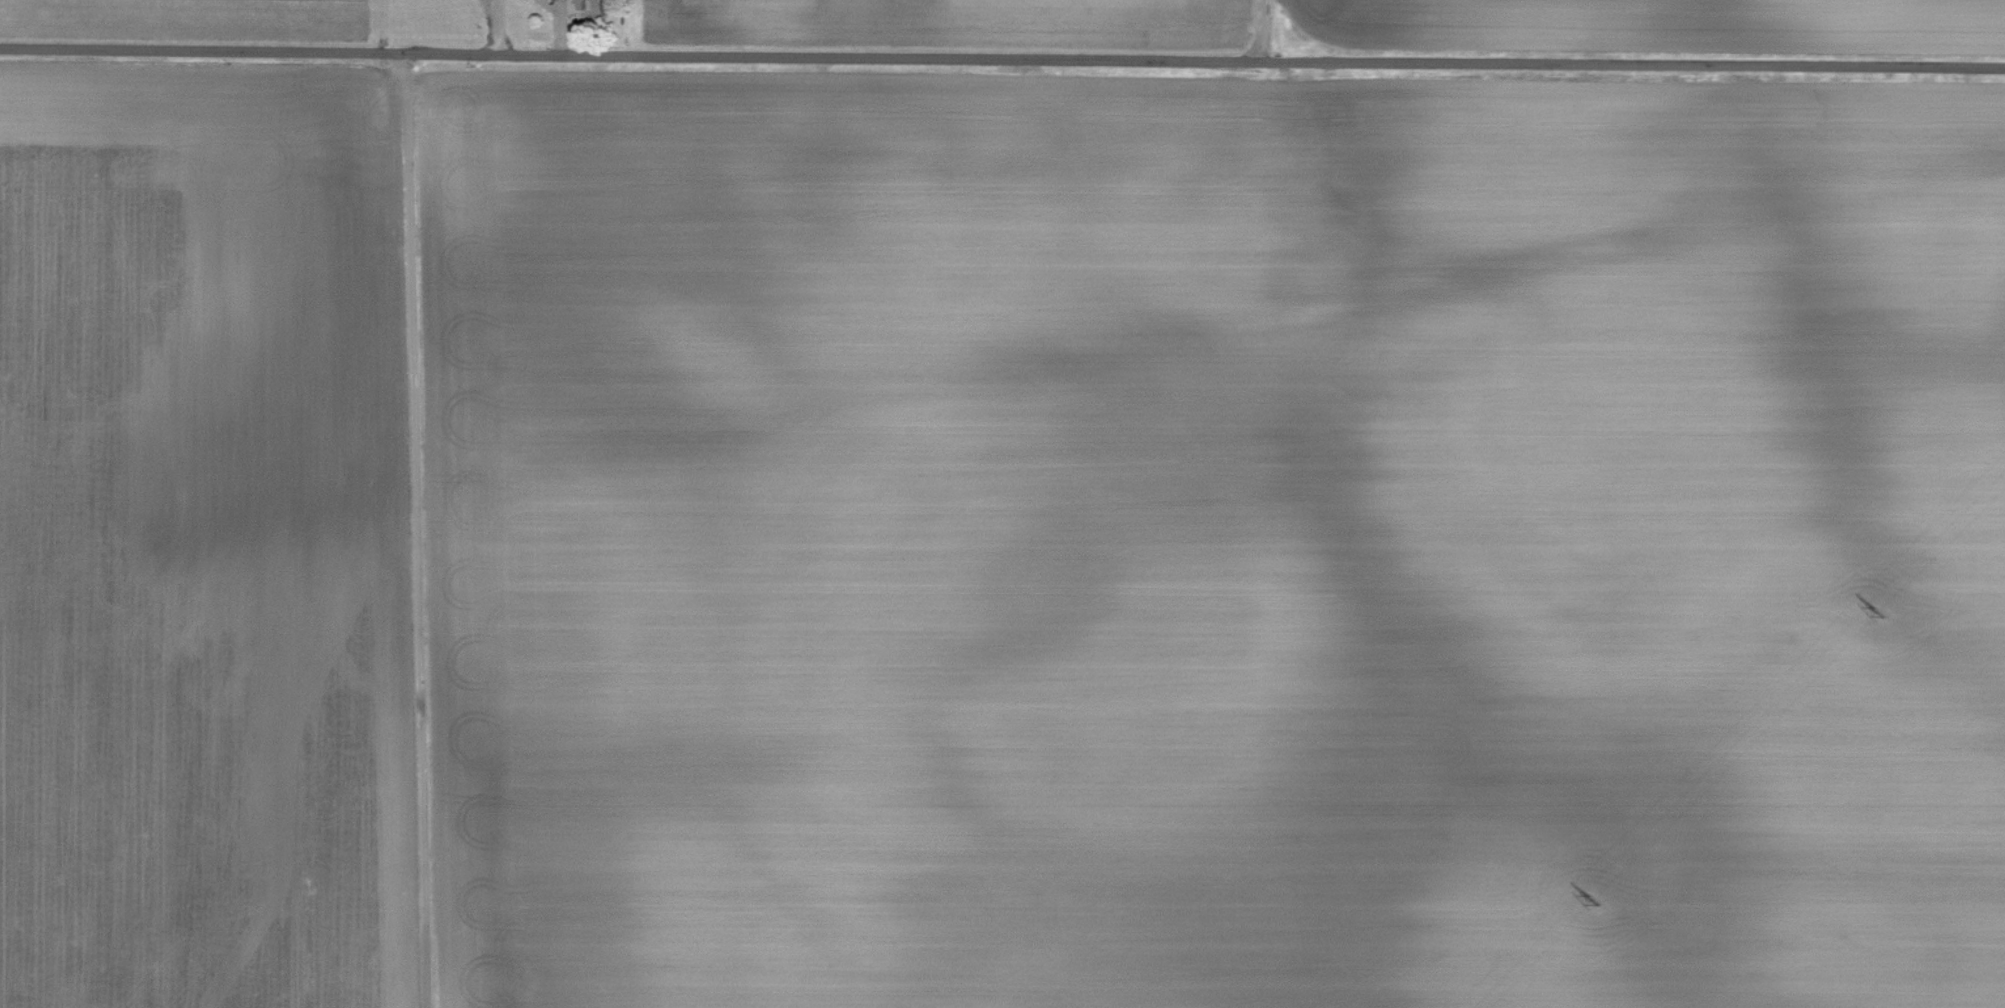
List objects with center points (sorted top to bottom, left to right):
road: (558, 24)
road: (493, 27)
road: (1260, 29)
road: (1002, 56)
road: (417, 530)
power tower: (1880, 612)
power tower: (1595, 899)

